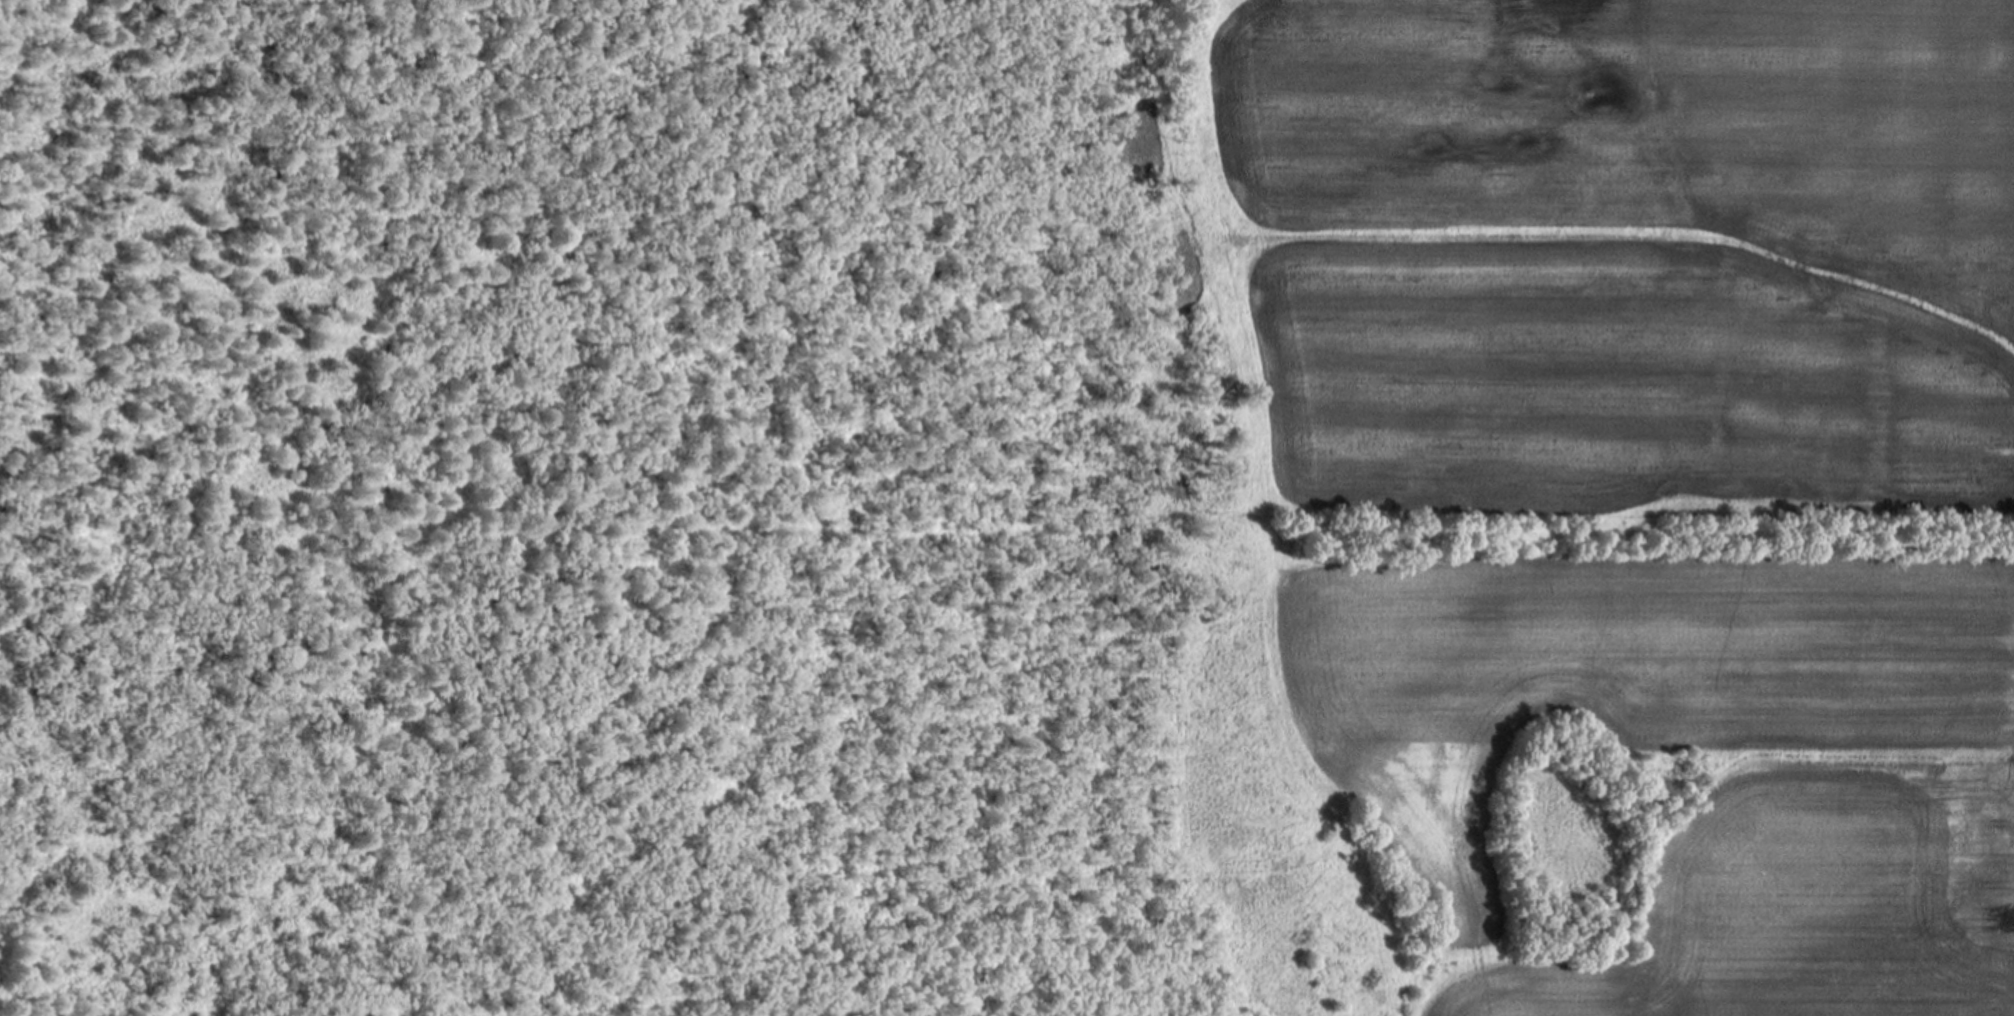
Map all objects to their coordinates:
road: (1661, 535)

